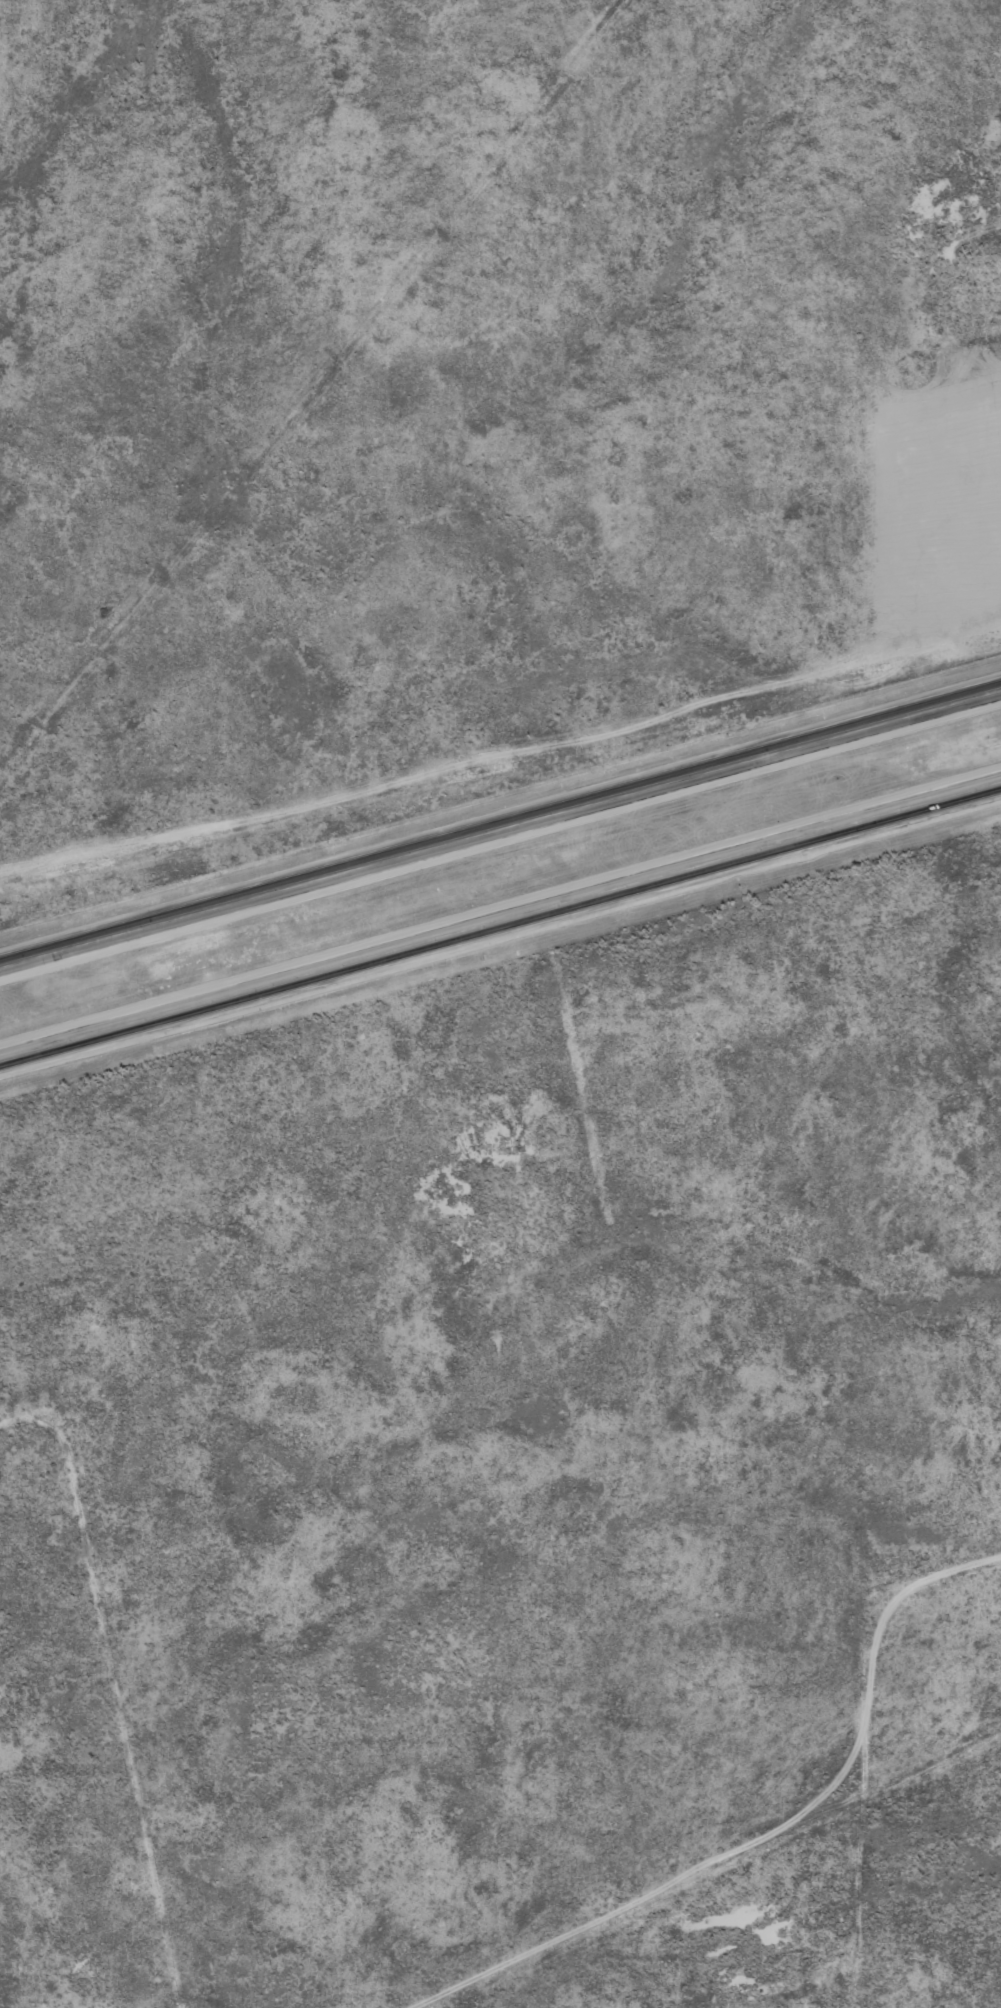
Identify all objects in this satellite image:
road: (947, 368)
road: (500, 831)
road: (500, 919)
road: (73, 1732)
road: (835, 1760)

